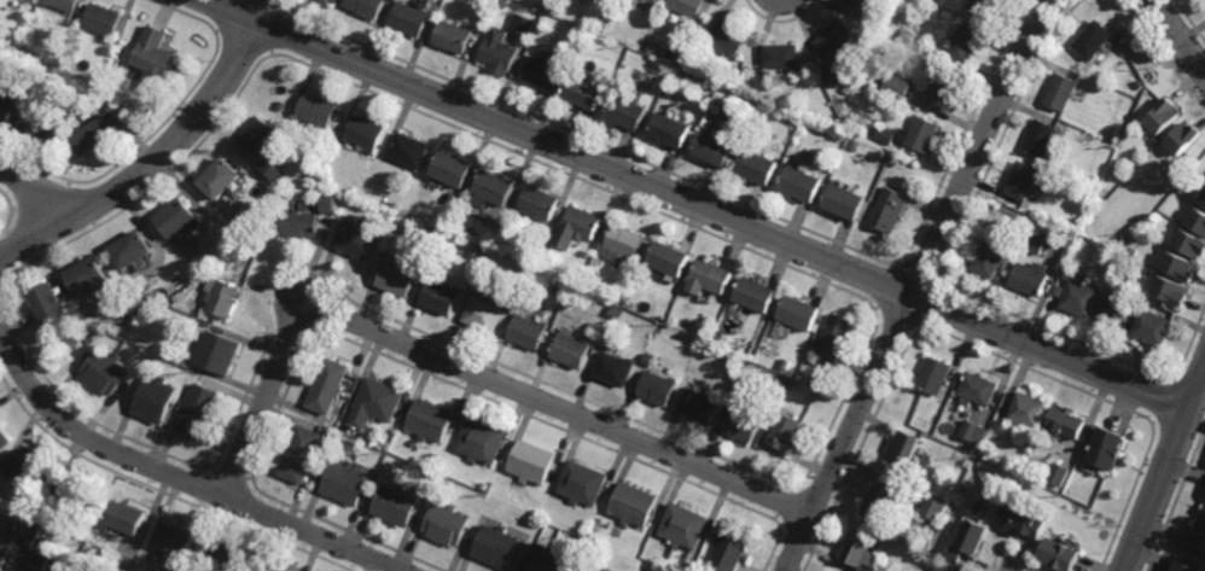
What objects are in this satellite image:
building: (652, 0)
building: (339, 1)
building: (65, 4)
building: (501, 4)
building: (852, 4)
building: (989, 5)
building: (688, 6)
building: (372, 7)
building: (412, 19)
building: (587, 19)
building: (105, 21)
building: (525, 25)
building: (604, 27)
building: (580, 30)
building: (729, 35)
road: (1178, 35)
building: (453, 36)
building: (910, 36)
building: (836, 37)
building: (1095, 40)
building: (635, 41)
building: (966, 43)
building: (16, 46)
building: (651, 46)
building: (499, 52)
building: (898, 54)
building: (31, 56)
building: (782, 56)
building: (158, 58)
building: (543, 70)
building: (68, 74)
building: (837, 76)
building: (732, 85)
building: (896, 85)
building: (1140, 85)
building: (24, 87)
building: (943, 91)
building: (586, 93)
building: (1064, 93)
building: (88, 98)
building: (6, 111)
building: (322, 111)
building: (628, 112)
building: (1164, 116)
building: (40, 128)
building: (872, 129)
building: (673, 130)
building: (919, 133)
building: (365, 134)
building: (886, 134)
building: (95, 135)
building: (263, 136)
building: (1042, 138)
building: (1182, 138)
building: (856, 144)
building: (715, 150)
building: (409, 152)
building: (309, 157)
road: (162, 158)
building: (757, 167)
building: (276, 170)
building: (452, 170)
building: (225, 180)
building: (1023, 180)
building: (802, 183)
road: (45, 187)
building: (493, 190)
building: (1203, 198)
building: (328, 203)
building: (845, 203)
building: (540, 205)
road: (699, 205)
building: (889, 209)
building: (179, 220)
building: (1198, 220)
building: (303, 225)
building: (577, 228)
building: (245, 231)
building: (432, 232)
building: (233, 237)
building: (1035, 240)
building: (1122, 240)
building: (625, 241)
building: (356, 243)
building: (1189, 244)
building: (1133, 250)
building: (133, 252)
building: (552, 255)
building: (989, 258)
building: (670, 260)
building: (534, 262)
building: (1178, 266)
building: (547, 269)
building: (1066, 273)
building: (197, 276)
building: (1125, 276)
building: (89, 278)
building: (1029, 278)
building: (490, 279)
building: (711, 279)
building: (397, 280)
road: (918, 282)
building: (1172, 289)
building: (557, 290)
building: (651, 291)
building: (1058, 291)
building: (225, 295)
building: (605, 295)
building: (755, 295)
building: (179, 297)
building: (1079, 297)
building: (441, 298)
building: (50, 304)
building: (142, 308)
building: (1111, 309)
building: (801, 311)
building: (483, 314)
building: (1153, 327)
building: (526, 332)
building: (93, 336)
building: (593, 336)
building: (836, 336)
building: (221, 349)
building: (571, 350)
building: (648, 359)
building: (787, 363)
building: (615, 367)
building: (109, 368)
road: (470, 371)
building: (936, 375)
building: (331, 383)
building: (791, 385)
building: (657, 388)
building: (979, 388)
building: (157, 397)
building: (379, 401)
building: (700, 404)
building: (200, 408)
building: (1028, 409)
building: (433, 419)
building: (935, 419)
building: (1066, 421)
building: (744, 424)
building: (971, 430)
building: (786, 431)
building: (5, 436)
building: (483, 439)
building: (1108, 445)
building: (903, 449)
building: (985, 449)
building: (303, 453)
building: (394, 456)
building: (532, 461)
building: (31, 465)
building: (456, 471)
road: (1165, 471)
building: (1058, 472)
road: (175, 476)
building: (349, 482)
building: (583, 482)
building: (80, 489)
building: (398, 502)
building: (880, 502)
building: (633, 503)
building: (935, 507)
building: (130, 515)
building: (94, 519)
building: (1024, 519)
building: (449, 523)
building: (685, 525)
building: (973, 534)
building: (179, 536)
building: (1197, 538)
building: (6, 542)
building: (500, 544)
building: (861, 547)
building: (45, 552)
building: (956, 552)
building: (732, 553)
building: (1061, 553)
building: (231, 558)
building: (551, 558)
building: (1187, 565)
building: (278, 567)
building: (947, 567)
building: (590, 569)
building: (606, 569)

